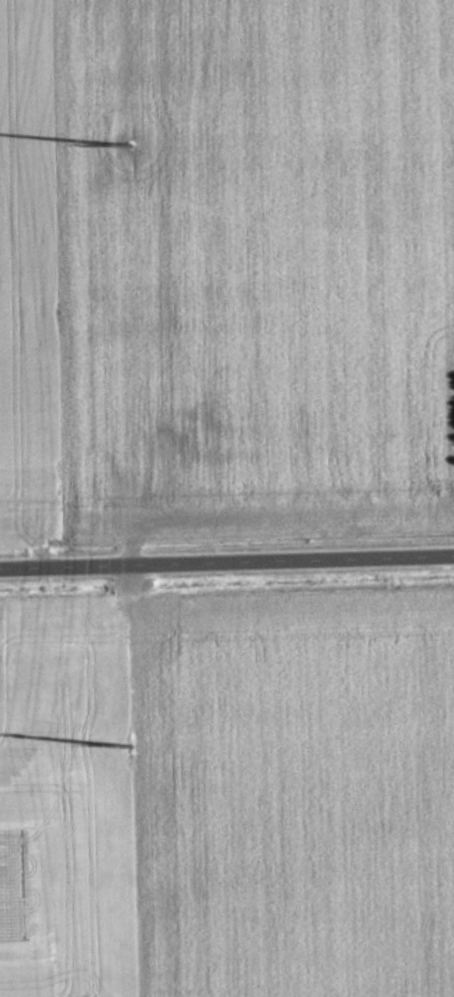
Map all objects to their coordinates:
power tower: (133, 143)
road: (227, 562)
power tower: (134, 744)

